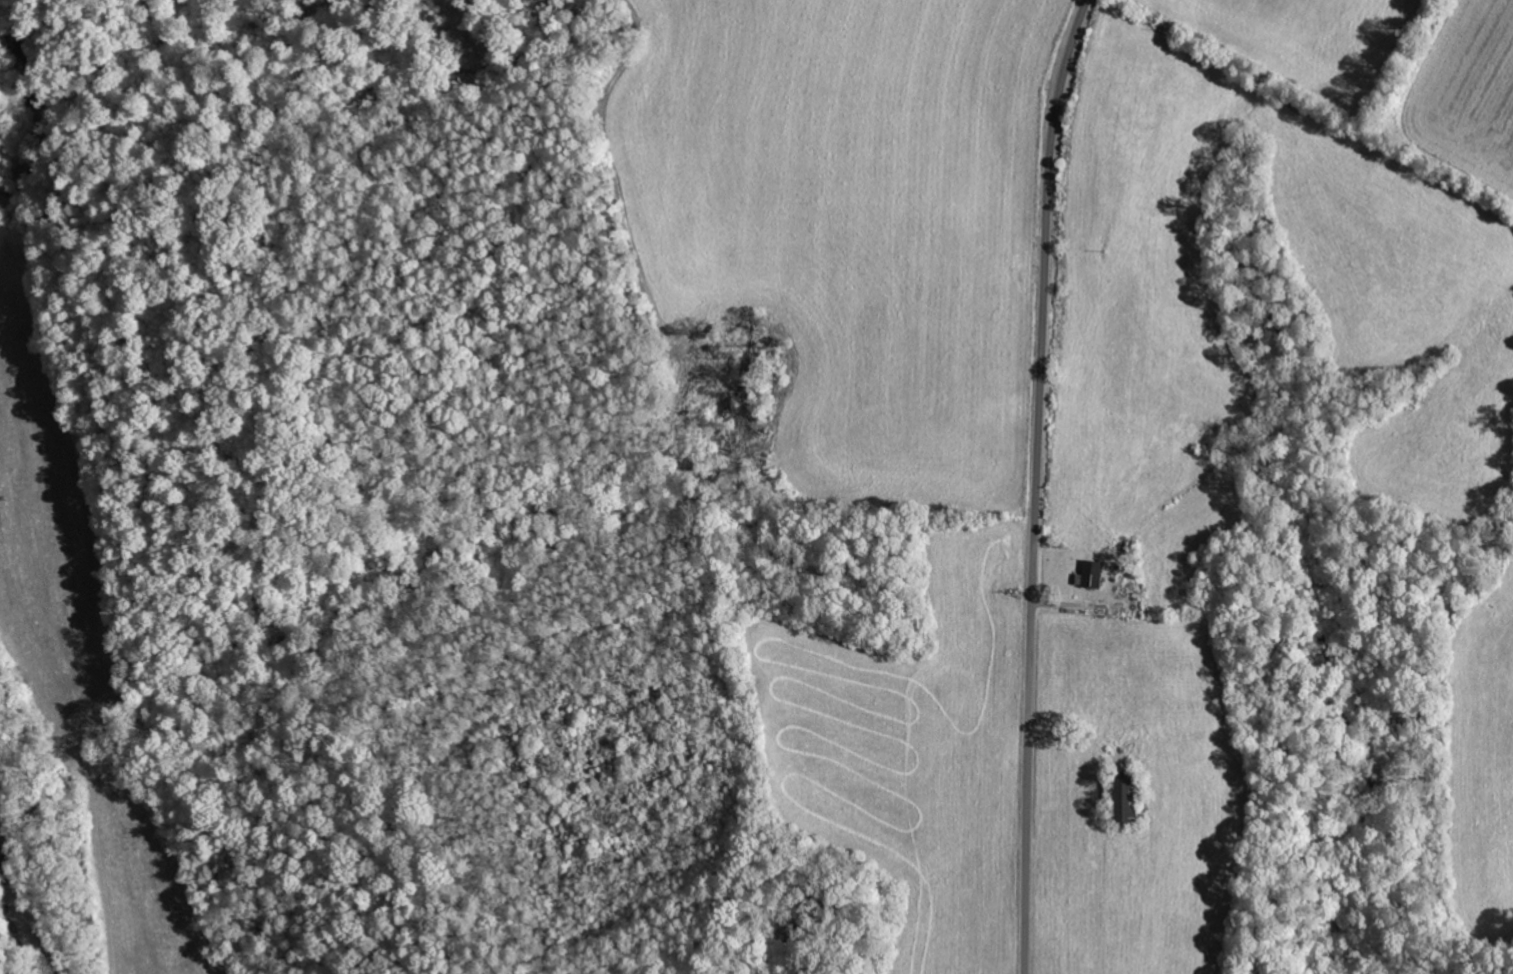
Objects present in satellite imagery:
road: (1034, 484)
building: (1093, 573)
building: (1131, 796)

